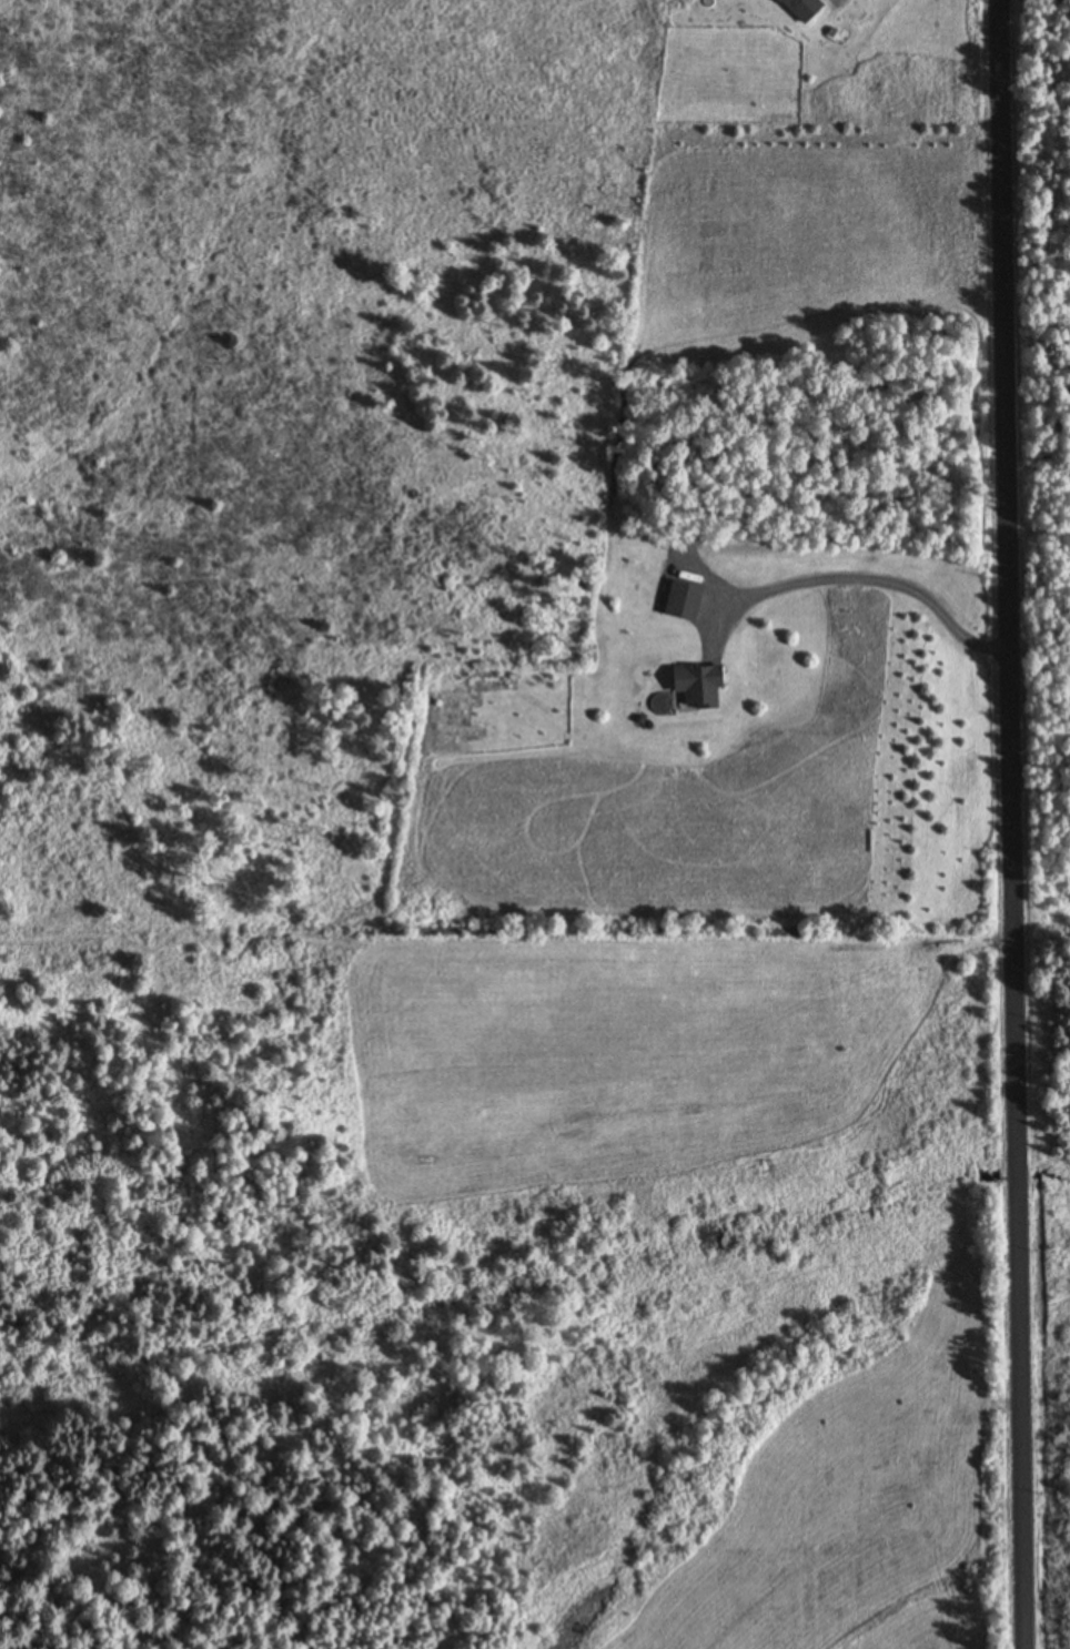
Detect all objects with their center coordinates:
building: (801, 9)
building: (683, 599)
building: (696, 688)
road: (1009, 824)

